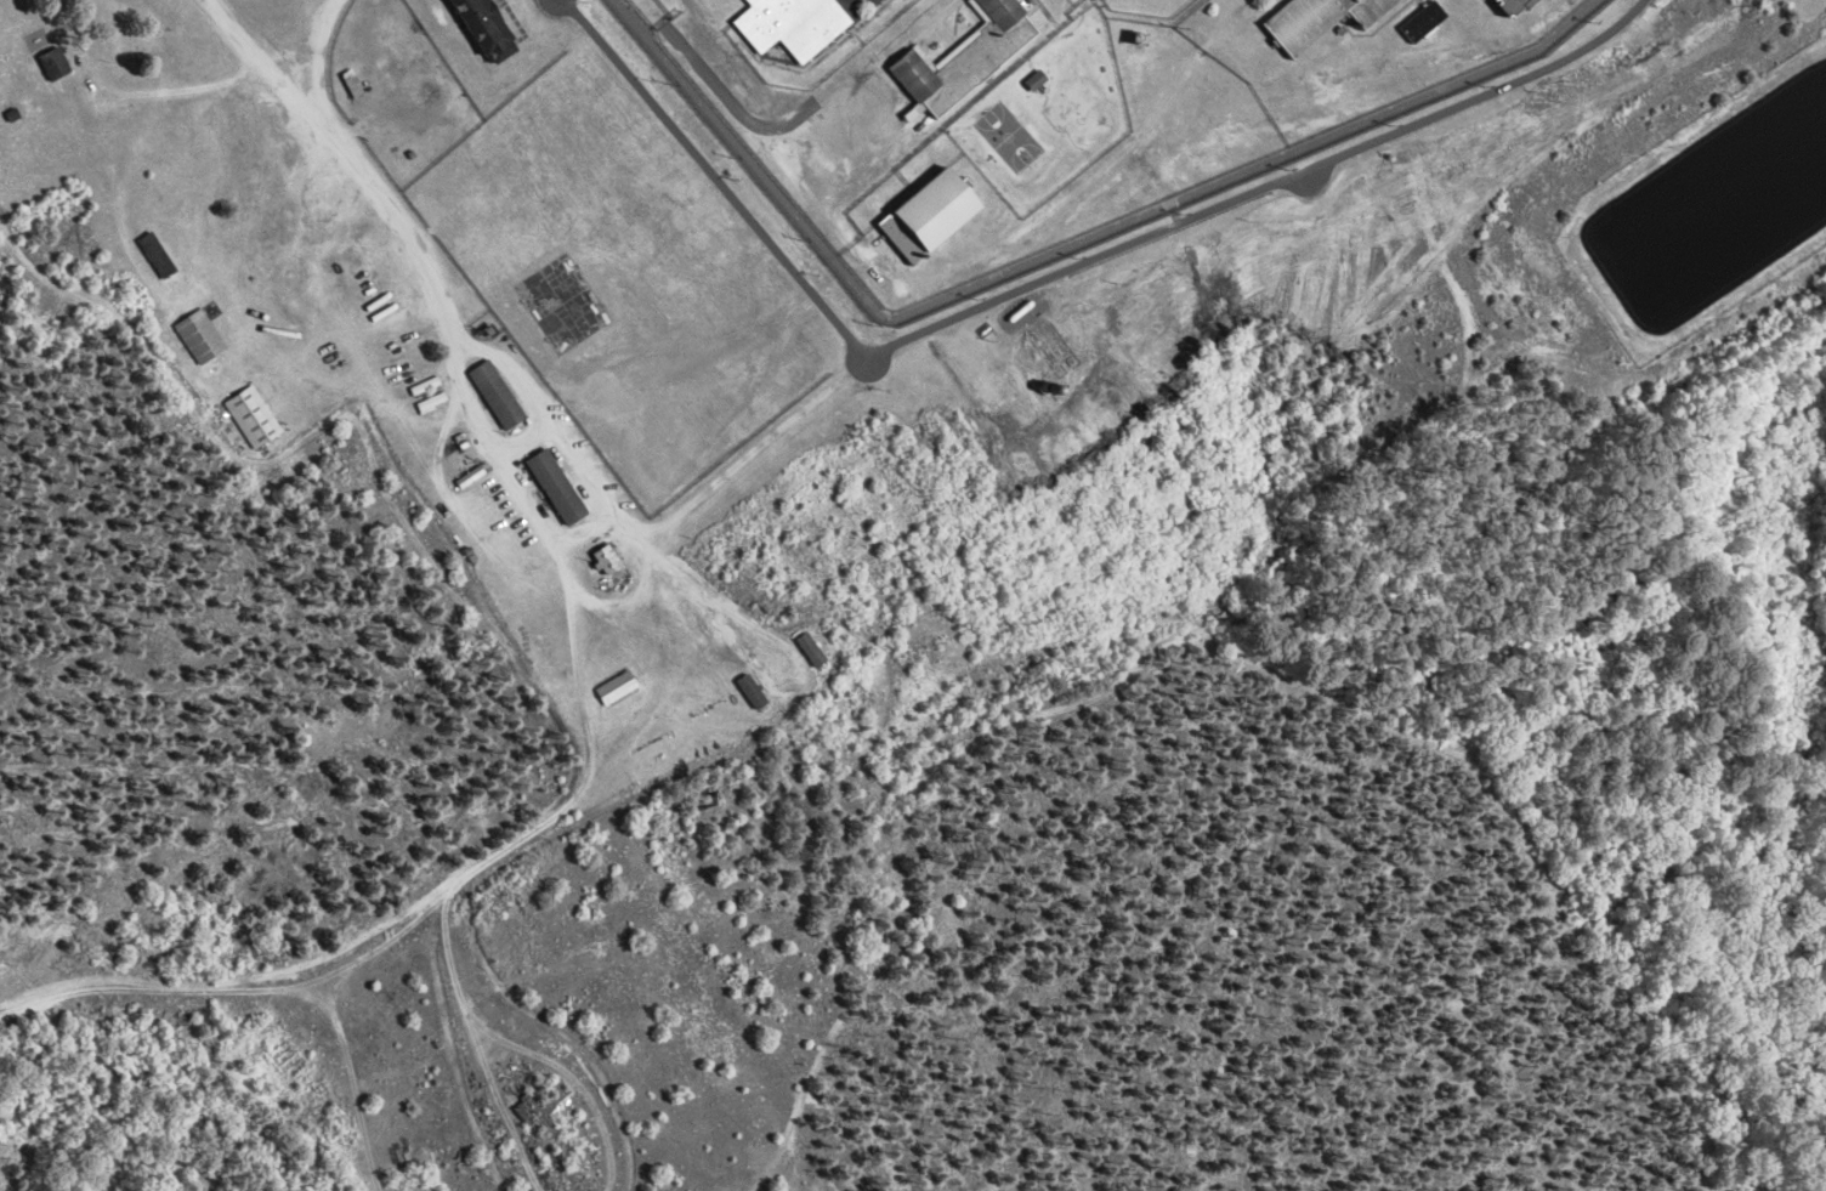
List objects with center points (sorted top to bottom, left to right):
building: (1508, 7)
road: (653, 10)
building: (1316, 19)
building: (1420, 23)
building: (788, 27)
building: (484, 30)
building: (1134, 42)
building: (963, 61)
building: (1032, 81)
park: (1068, 104)
park: (1008, 135)
building: (923, 217)
road: (1055, 253)
road: (430, 277)
road: (1049, 278)
building: (195, 334)
building: (495, 390)
building: (249, 414)
road: (551, 420)
building: (466, 475)
building: (555, 482)
building: (606, 555)
building: (613, 686)

